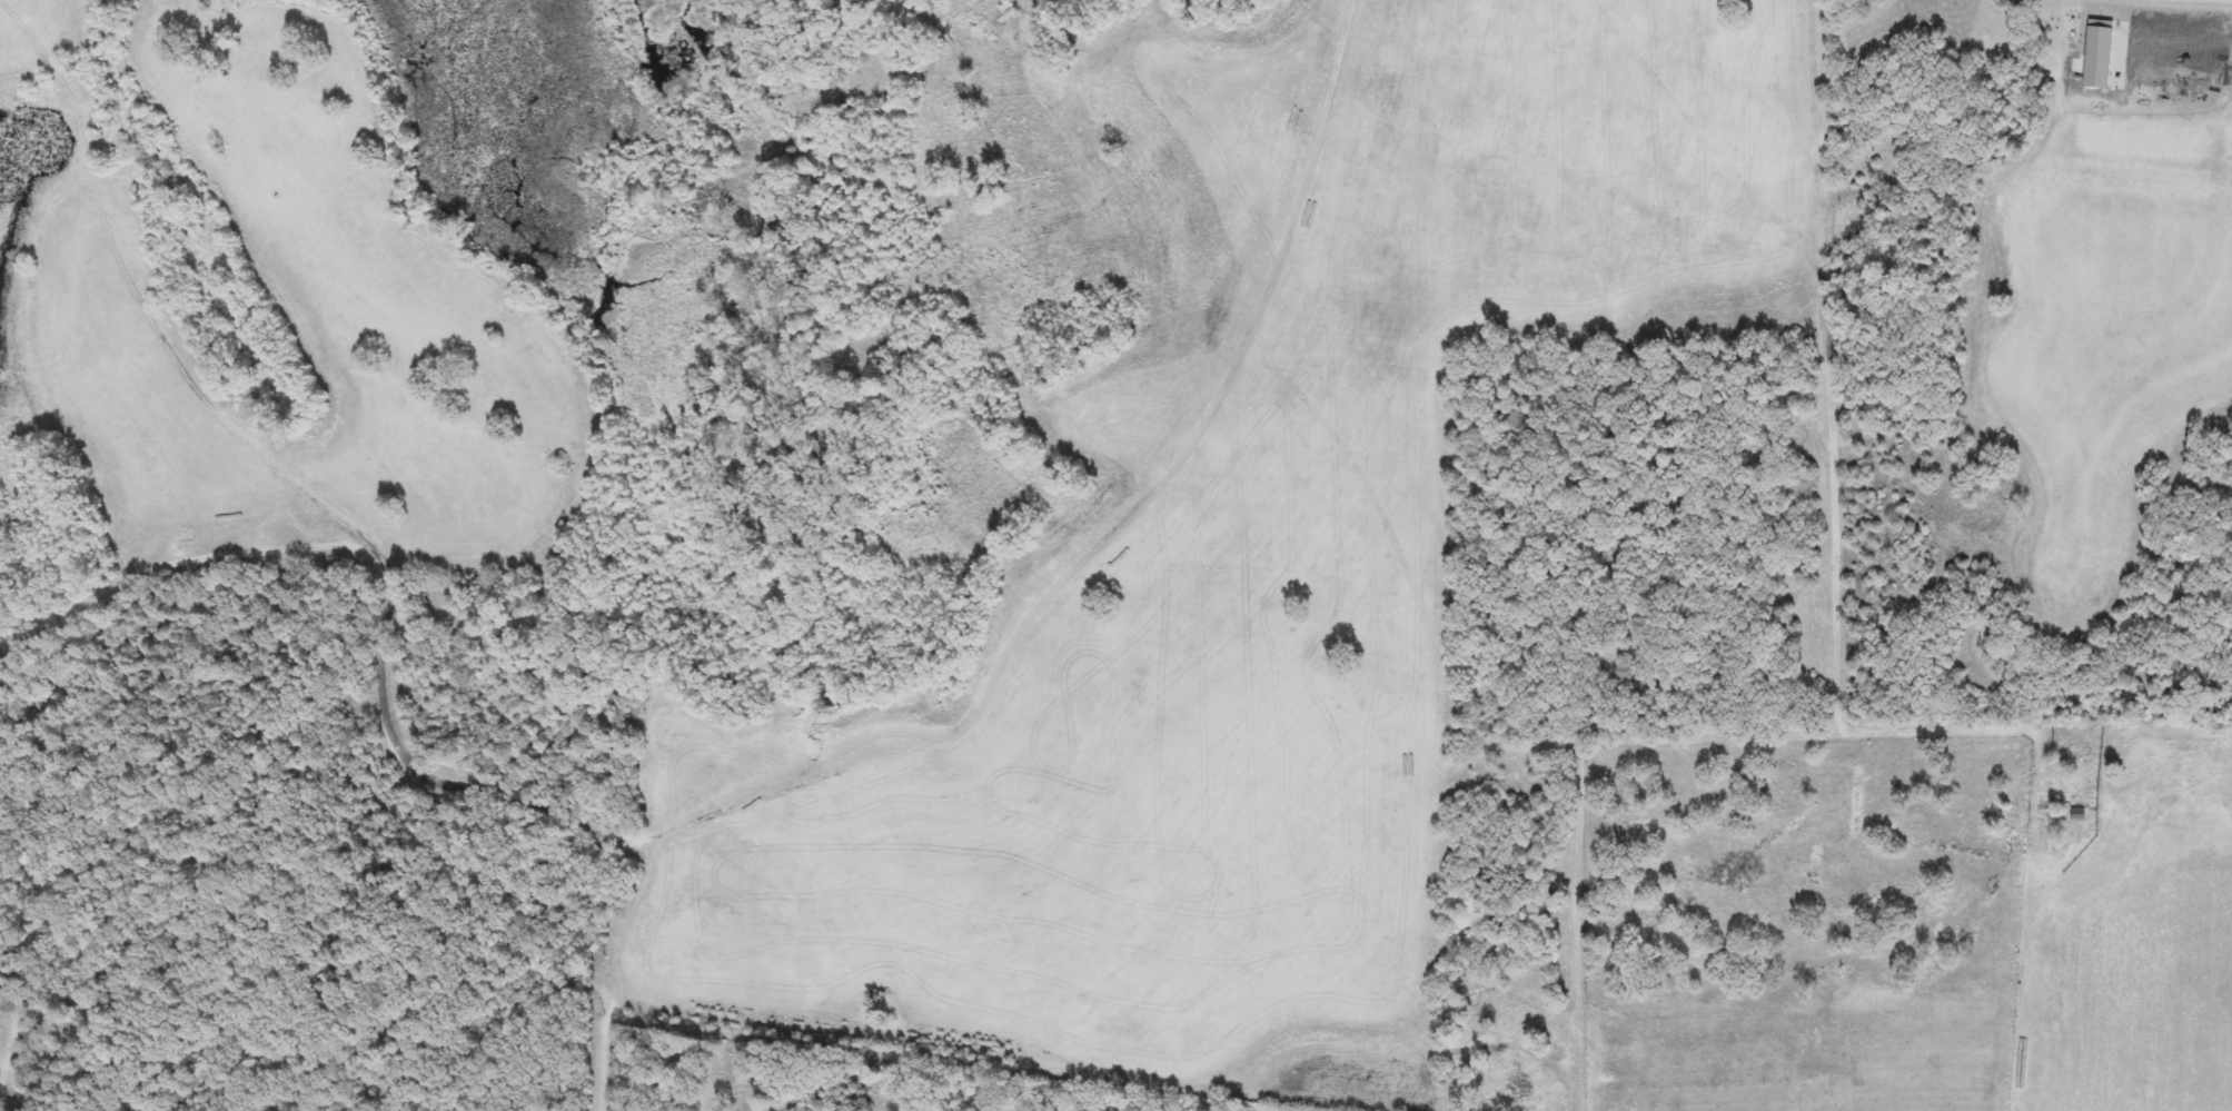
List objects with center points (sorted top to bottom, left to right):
building: (2106, 58)

